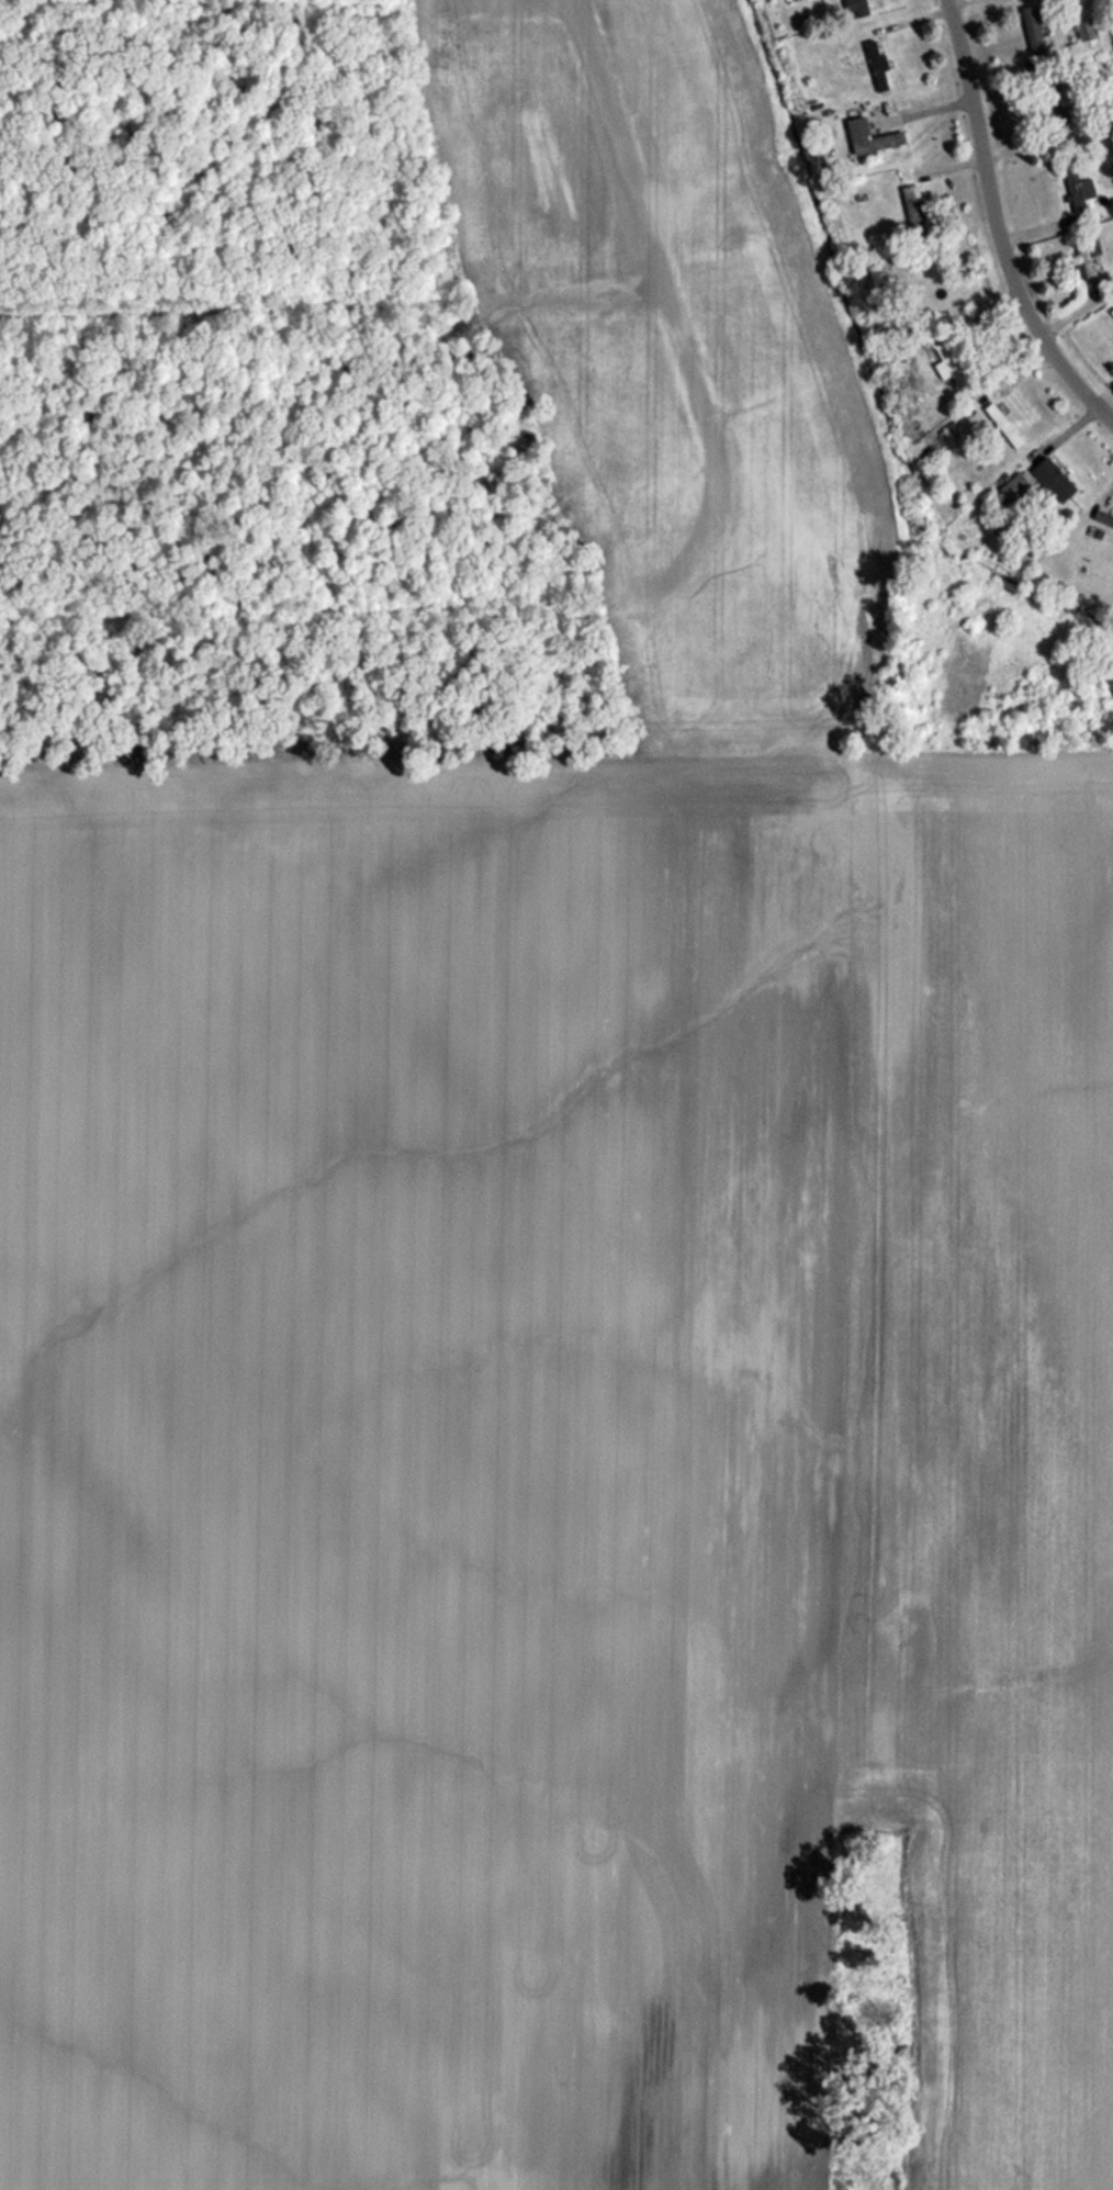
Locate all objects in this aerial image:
building: (859, 8)
building: (1034, 32)
building: (1086, 42)
building: (876, 66)
building: (872, 137)
building: (1078, 188)
building: (912, 206)
road: (996, 225)
building: (1090, 258)
building: (1112, 313)
building: (954, 360)
building: (1004, 427)
building: (1054, 480)
building: (1013, 490)

